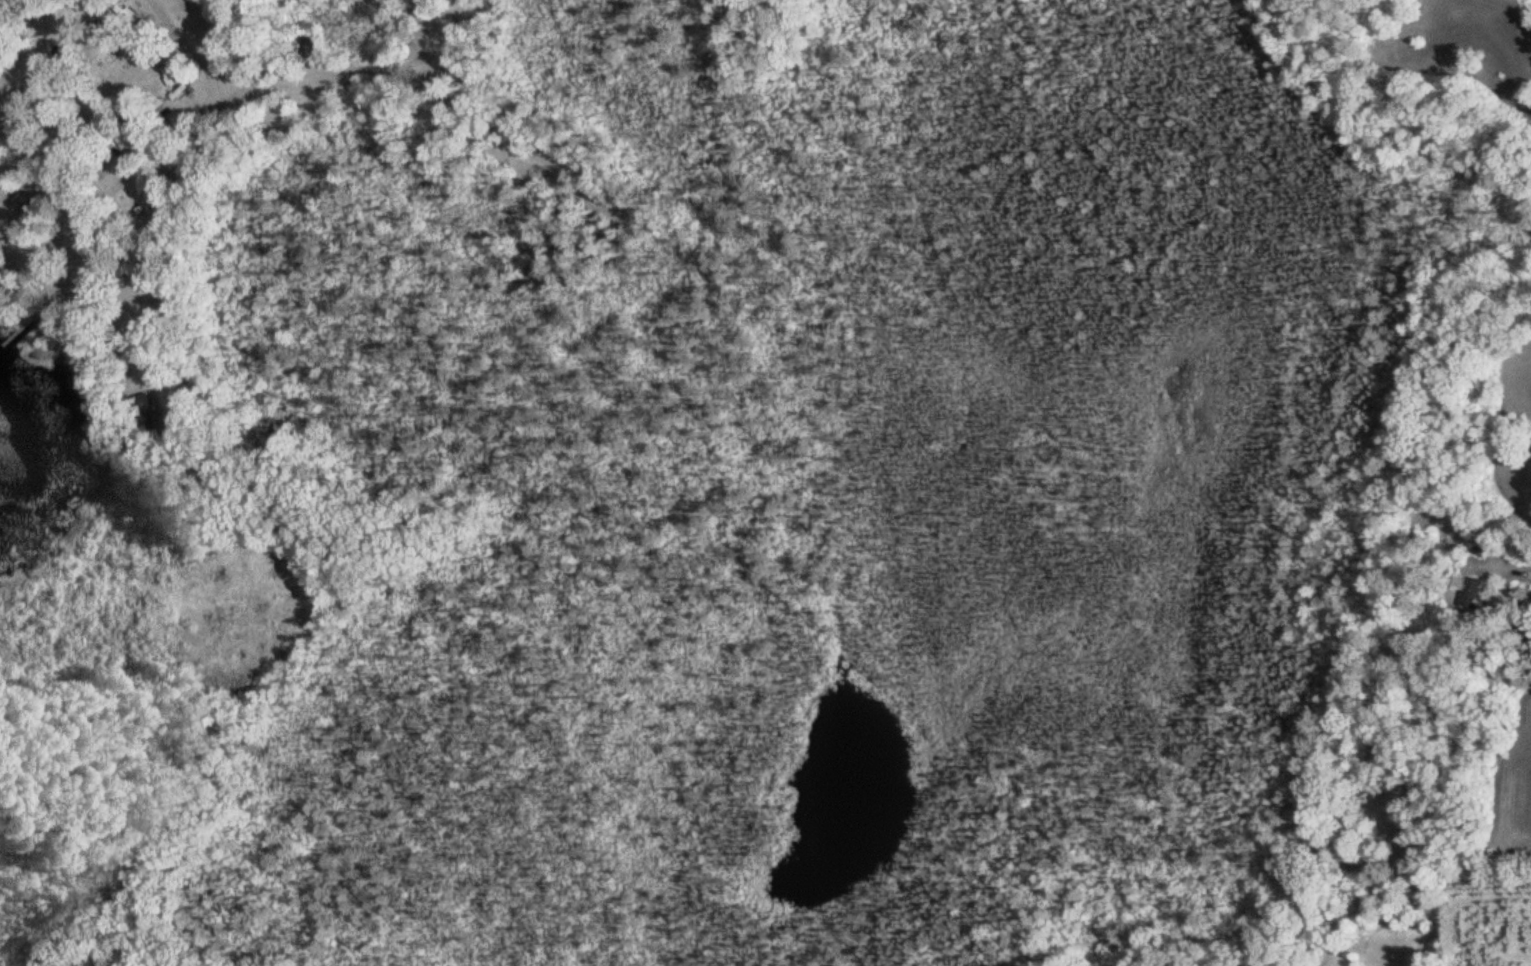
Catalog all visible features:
road: (348, 33)
road: (35, 41)

